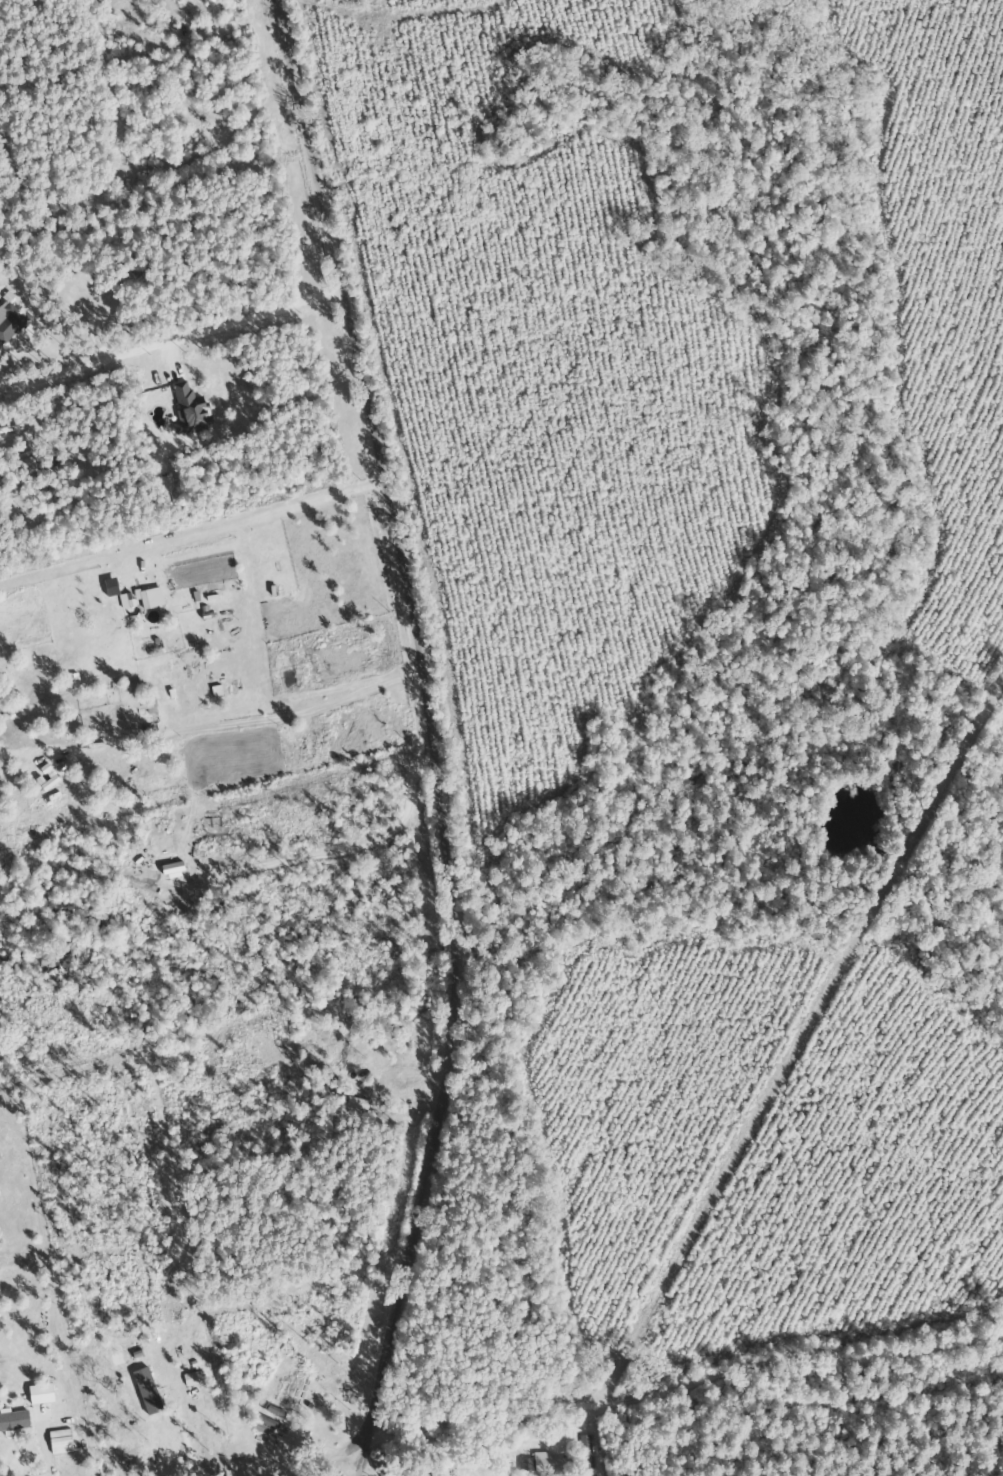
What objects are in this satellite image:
building: (9, 321)
building: (145, 600)
road: (437, 734)
road: (691, 1373)
building: (272, 1412)
building: (265, 1422)
road: (270, 1445)
road: (427, 1459)
building: (549, 1466)
building: (438, 1470)

